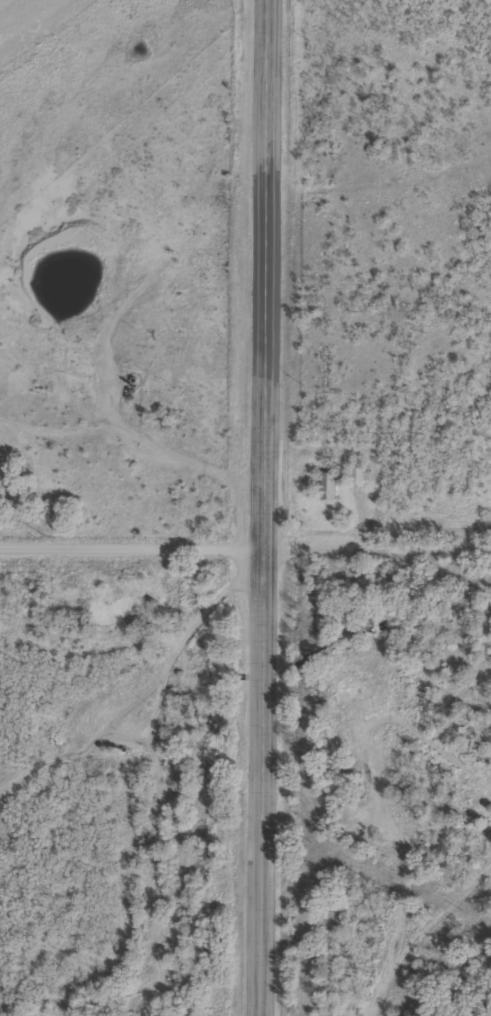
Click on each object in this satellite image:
building: (356, 475)
building: (328, 486)
road: (273, 508)
road: (136, 548)
building: (134, 621)

